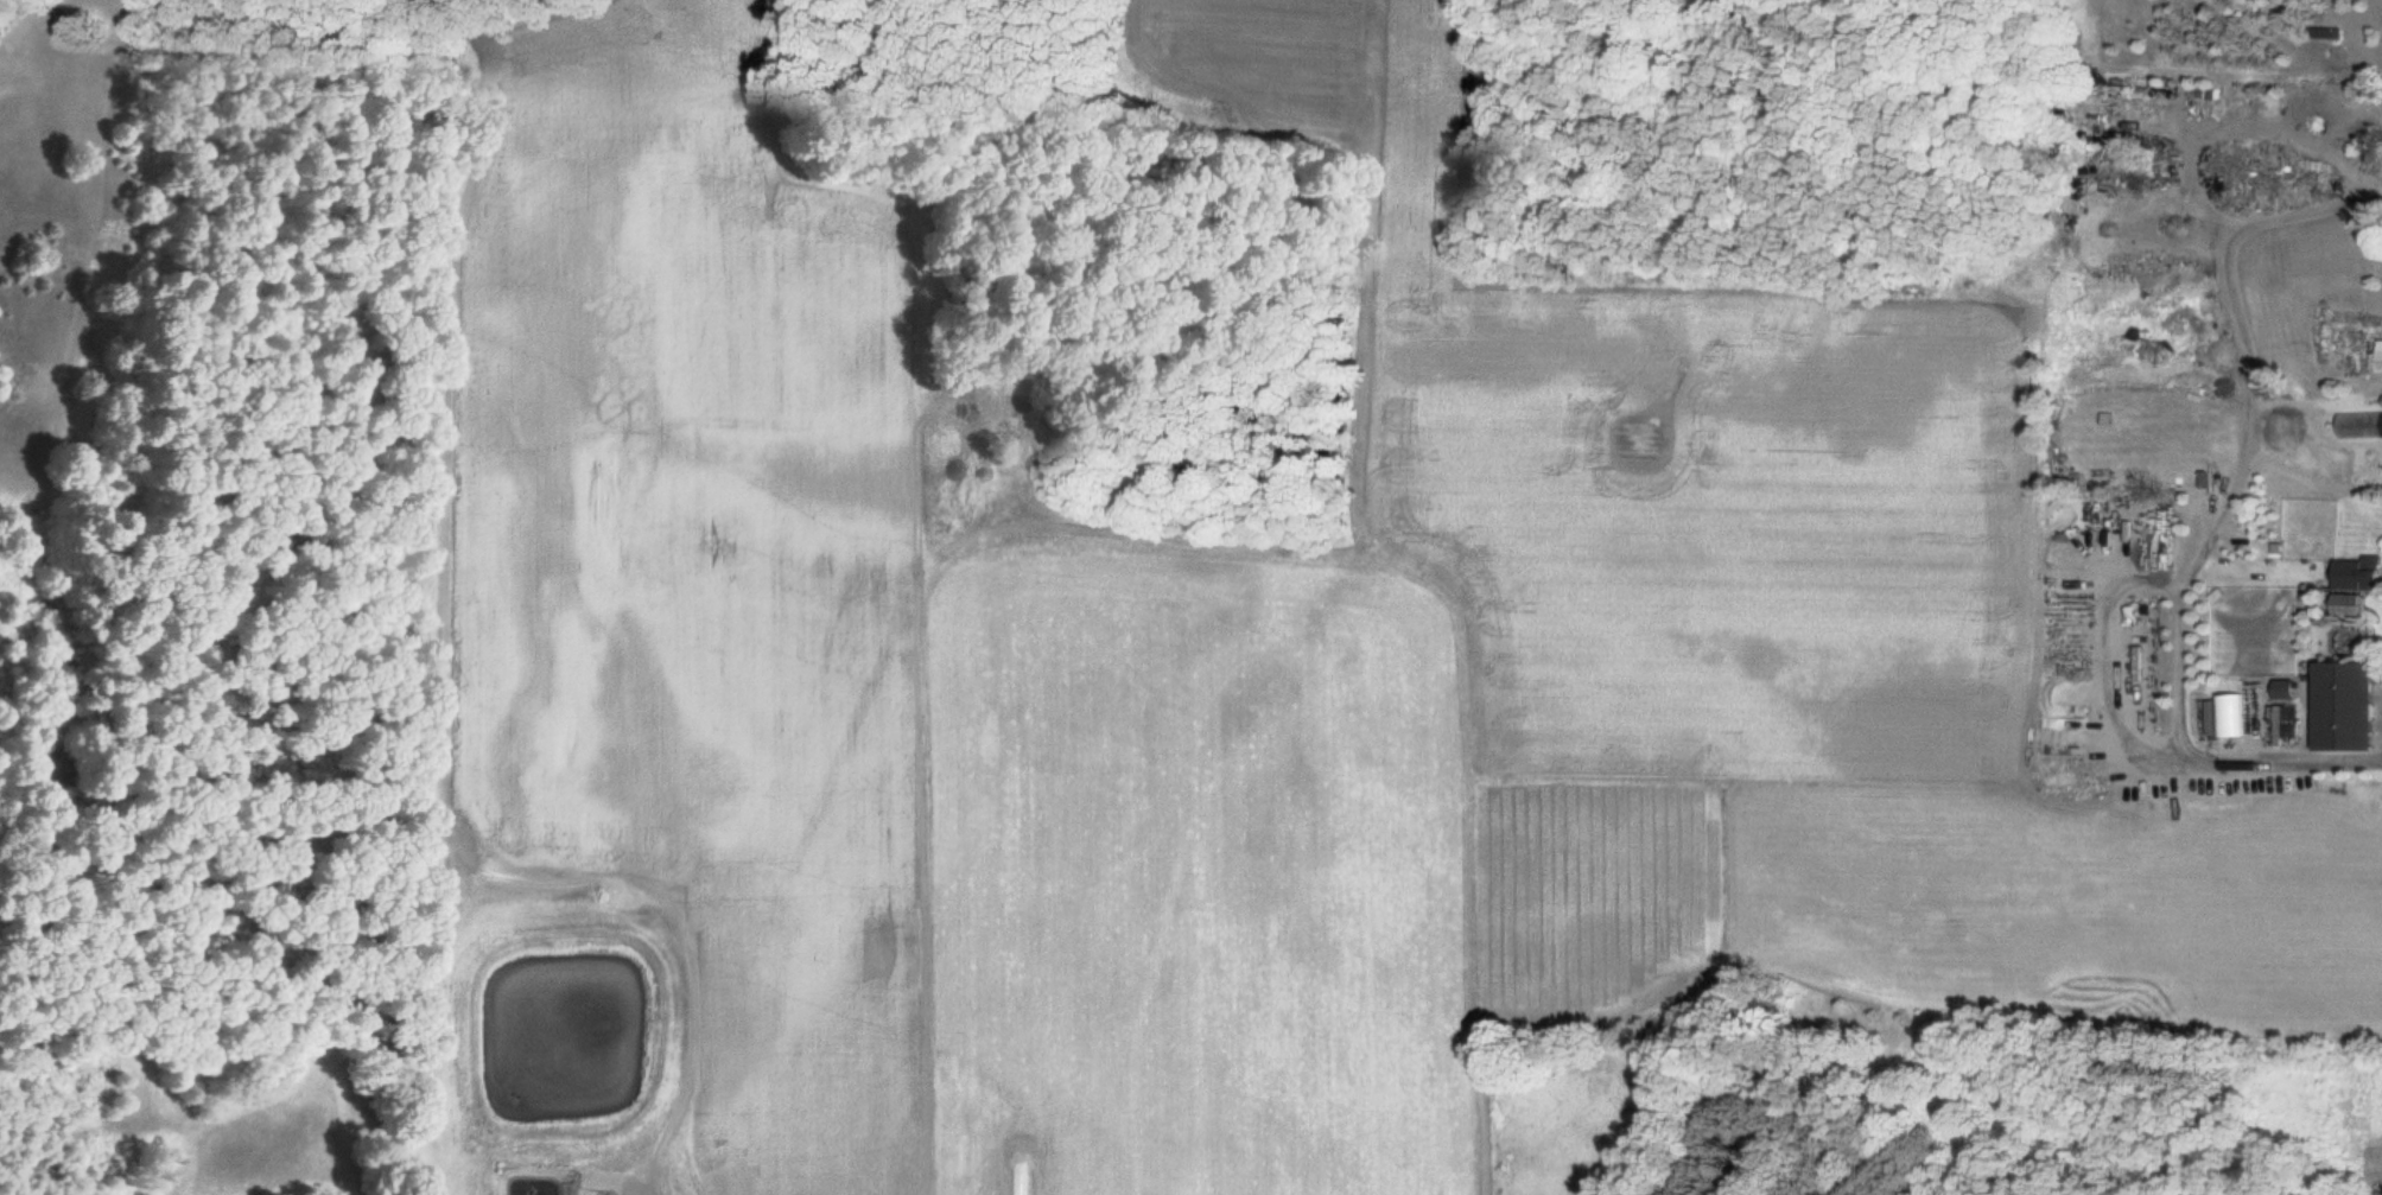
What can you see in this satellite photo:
building: (2321, 33)
building: (2104, 262)
building: (2376, 356)
building: (2352, 576)
building: (2279, 689)
building: (2338, 707)
building: (2225, 716)
building: (2375, 1193)

